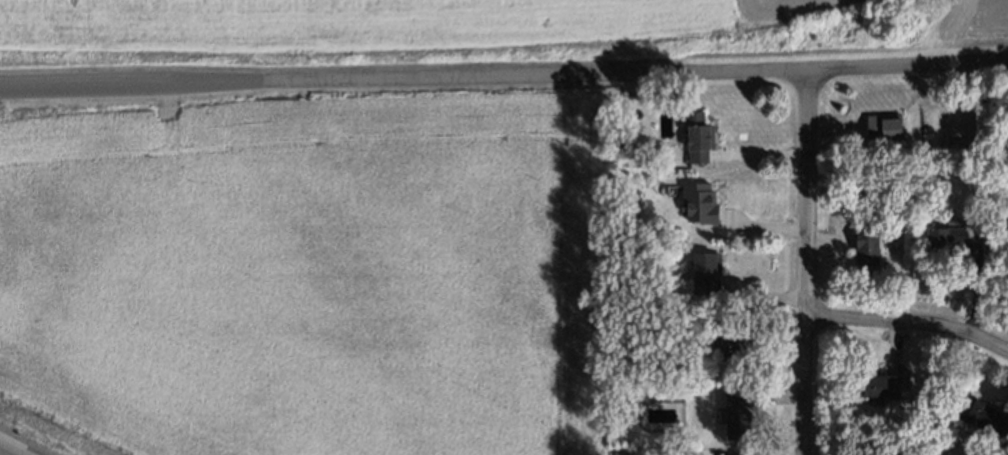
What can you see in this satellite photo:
road: (504, 76)
building: (887, 126)
building: (700, 138)
building: (634, 196)
building: (700, 203)
building: (954, 240)
building: (868, 249)
road: (806, 261)
building: (709, 274)
road: (909, 322)
building: (738, 342)
building: (882, 386)
building: (739, 412)
building: (984, 416)

